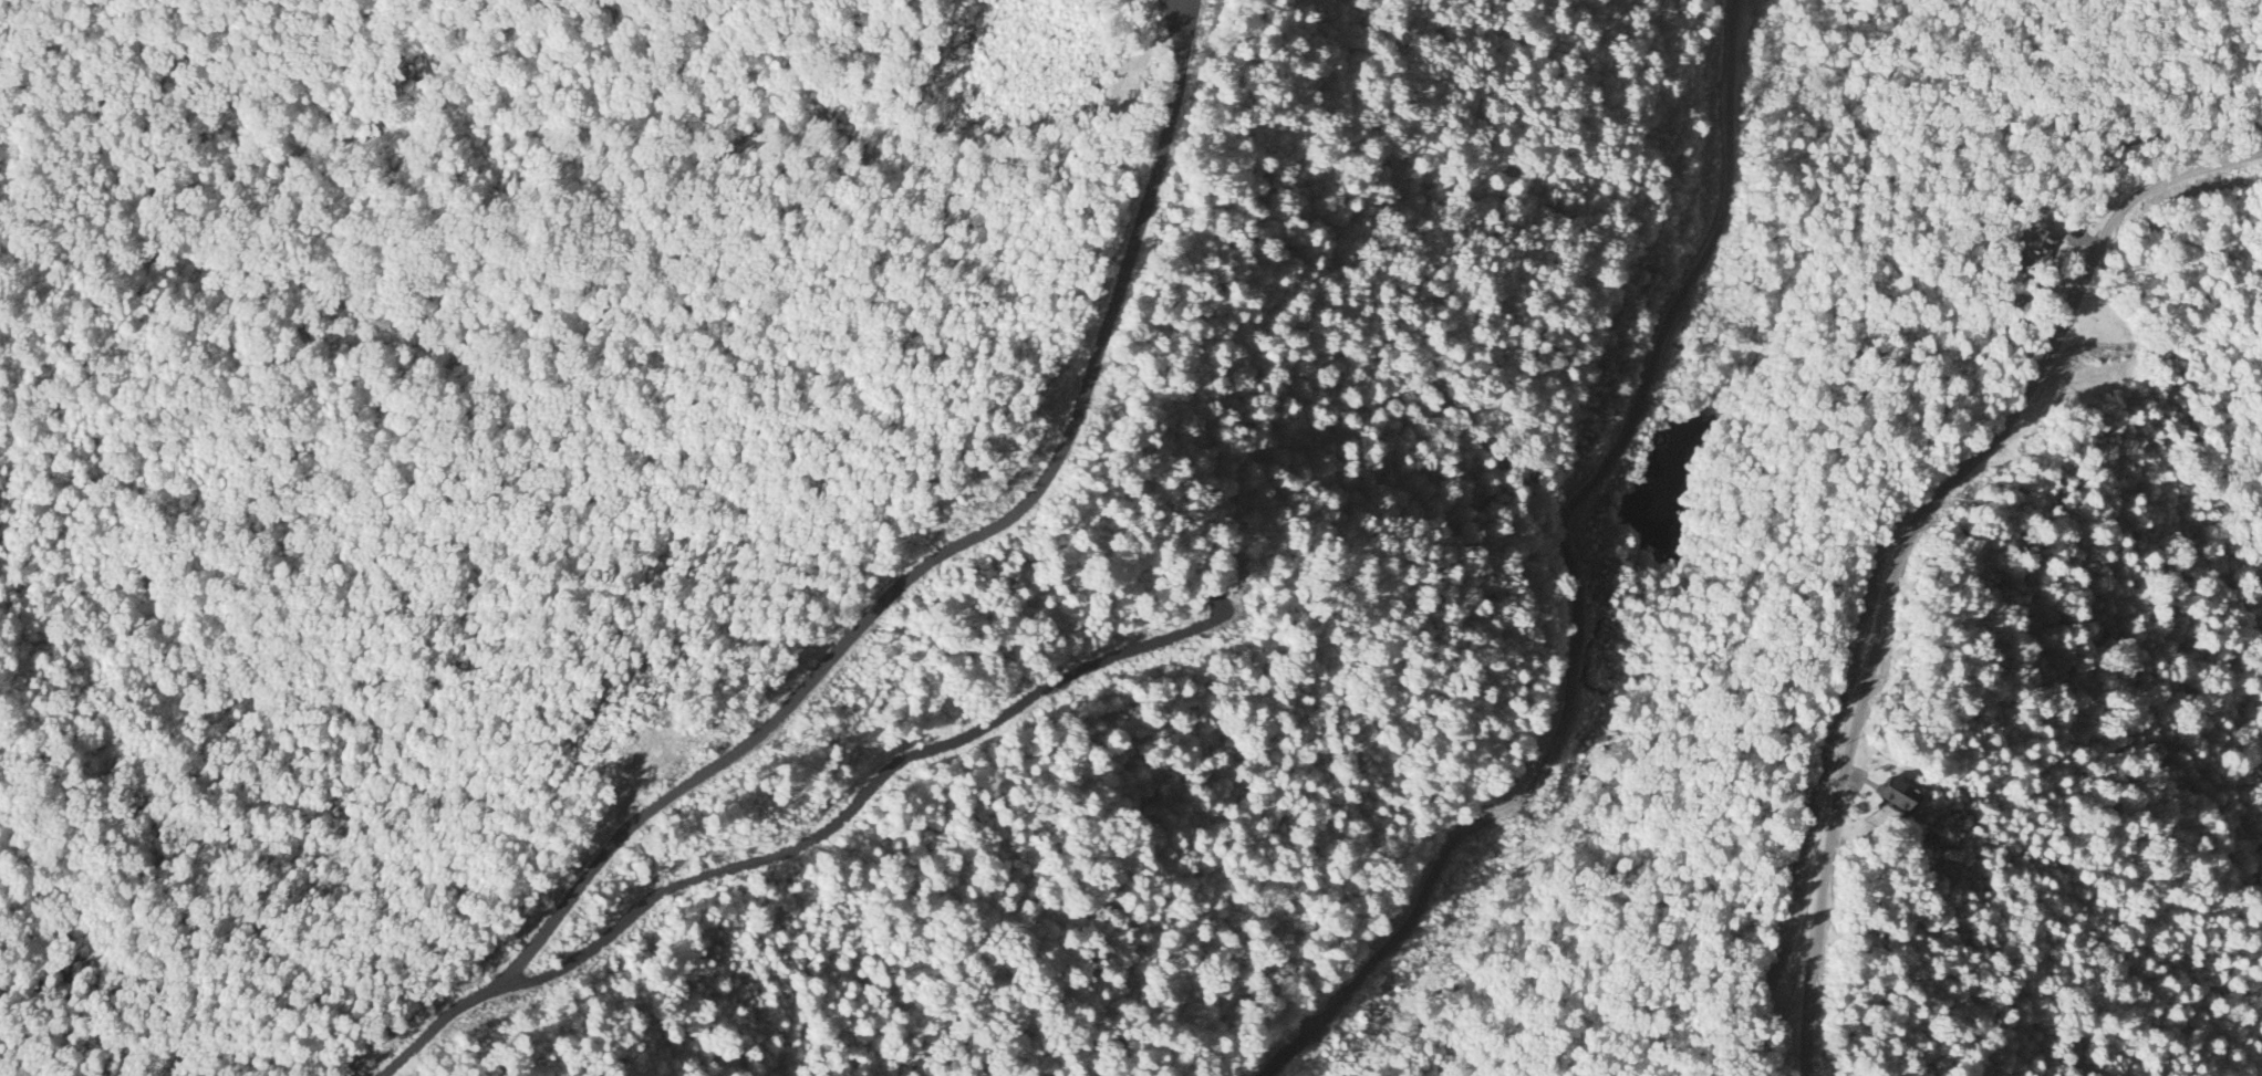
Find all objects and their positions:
building: (2038, 242)
road: (1903, 534)
road: (1577, 577)
road: (886, 596)
building: (1905, 797)

